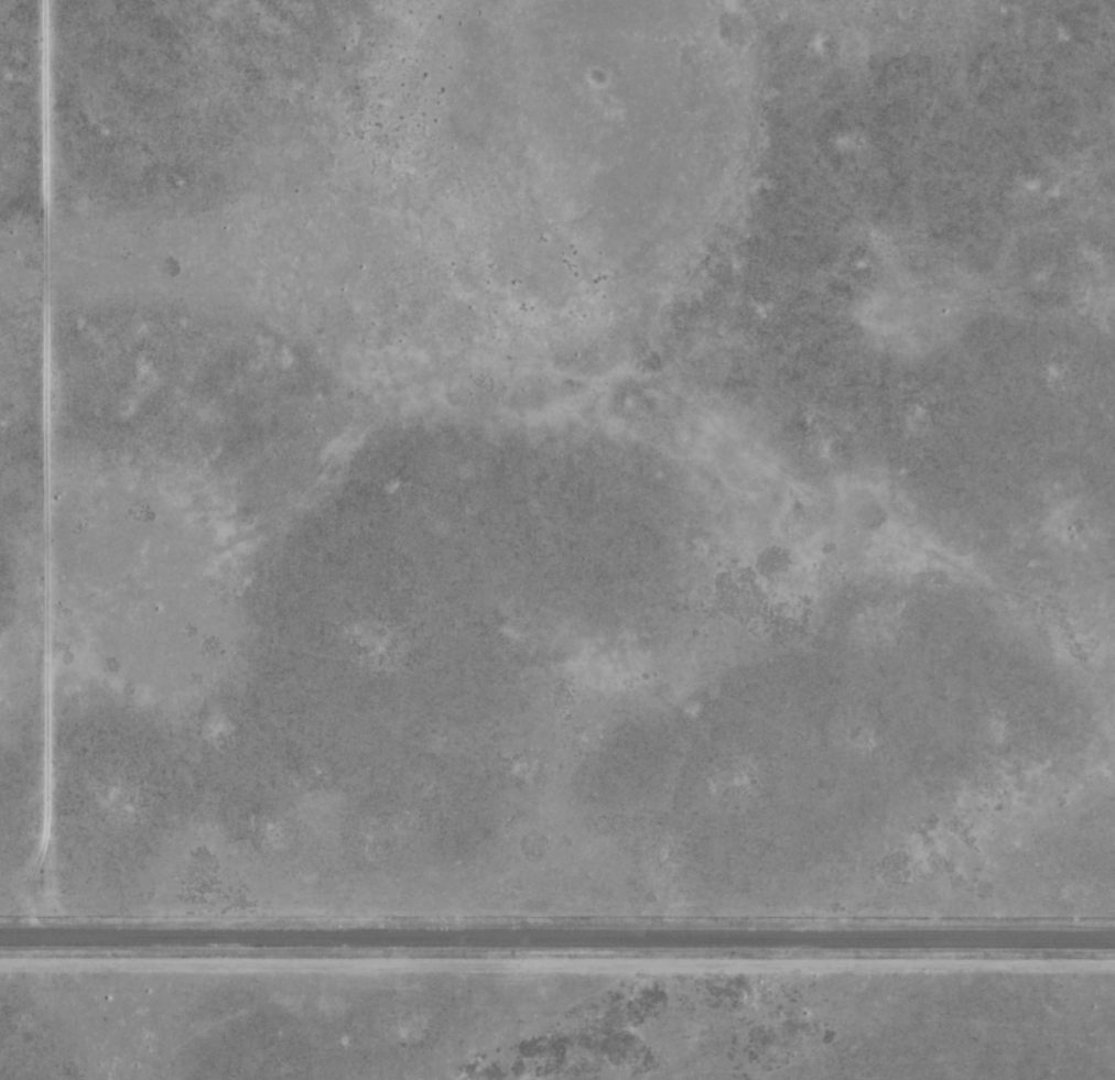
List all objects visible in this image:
road: (72, 476)
road: (557, 952)

